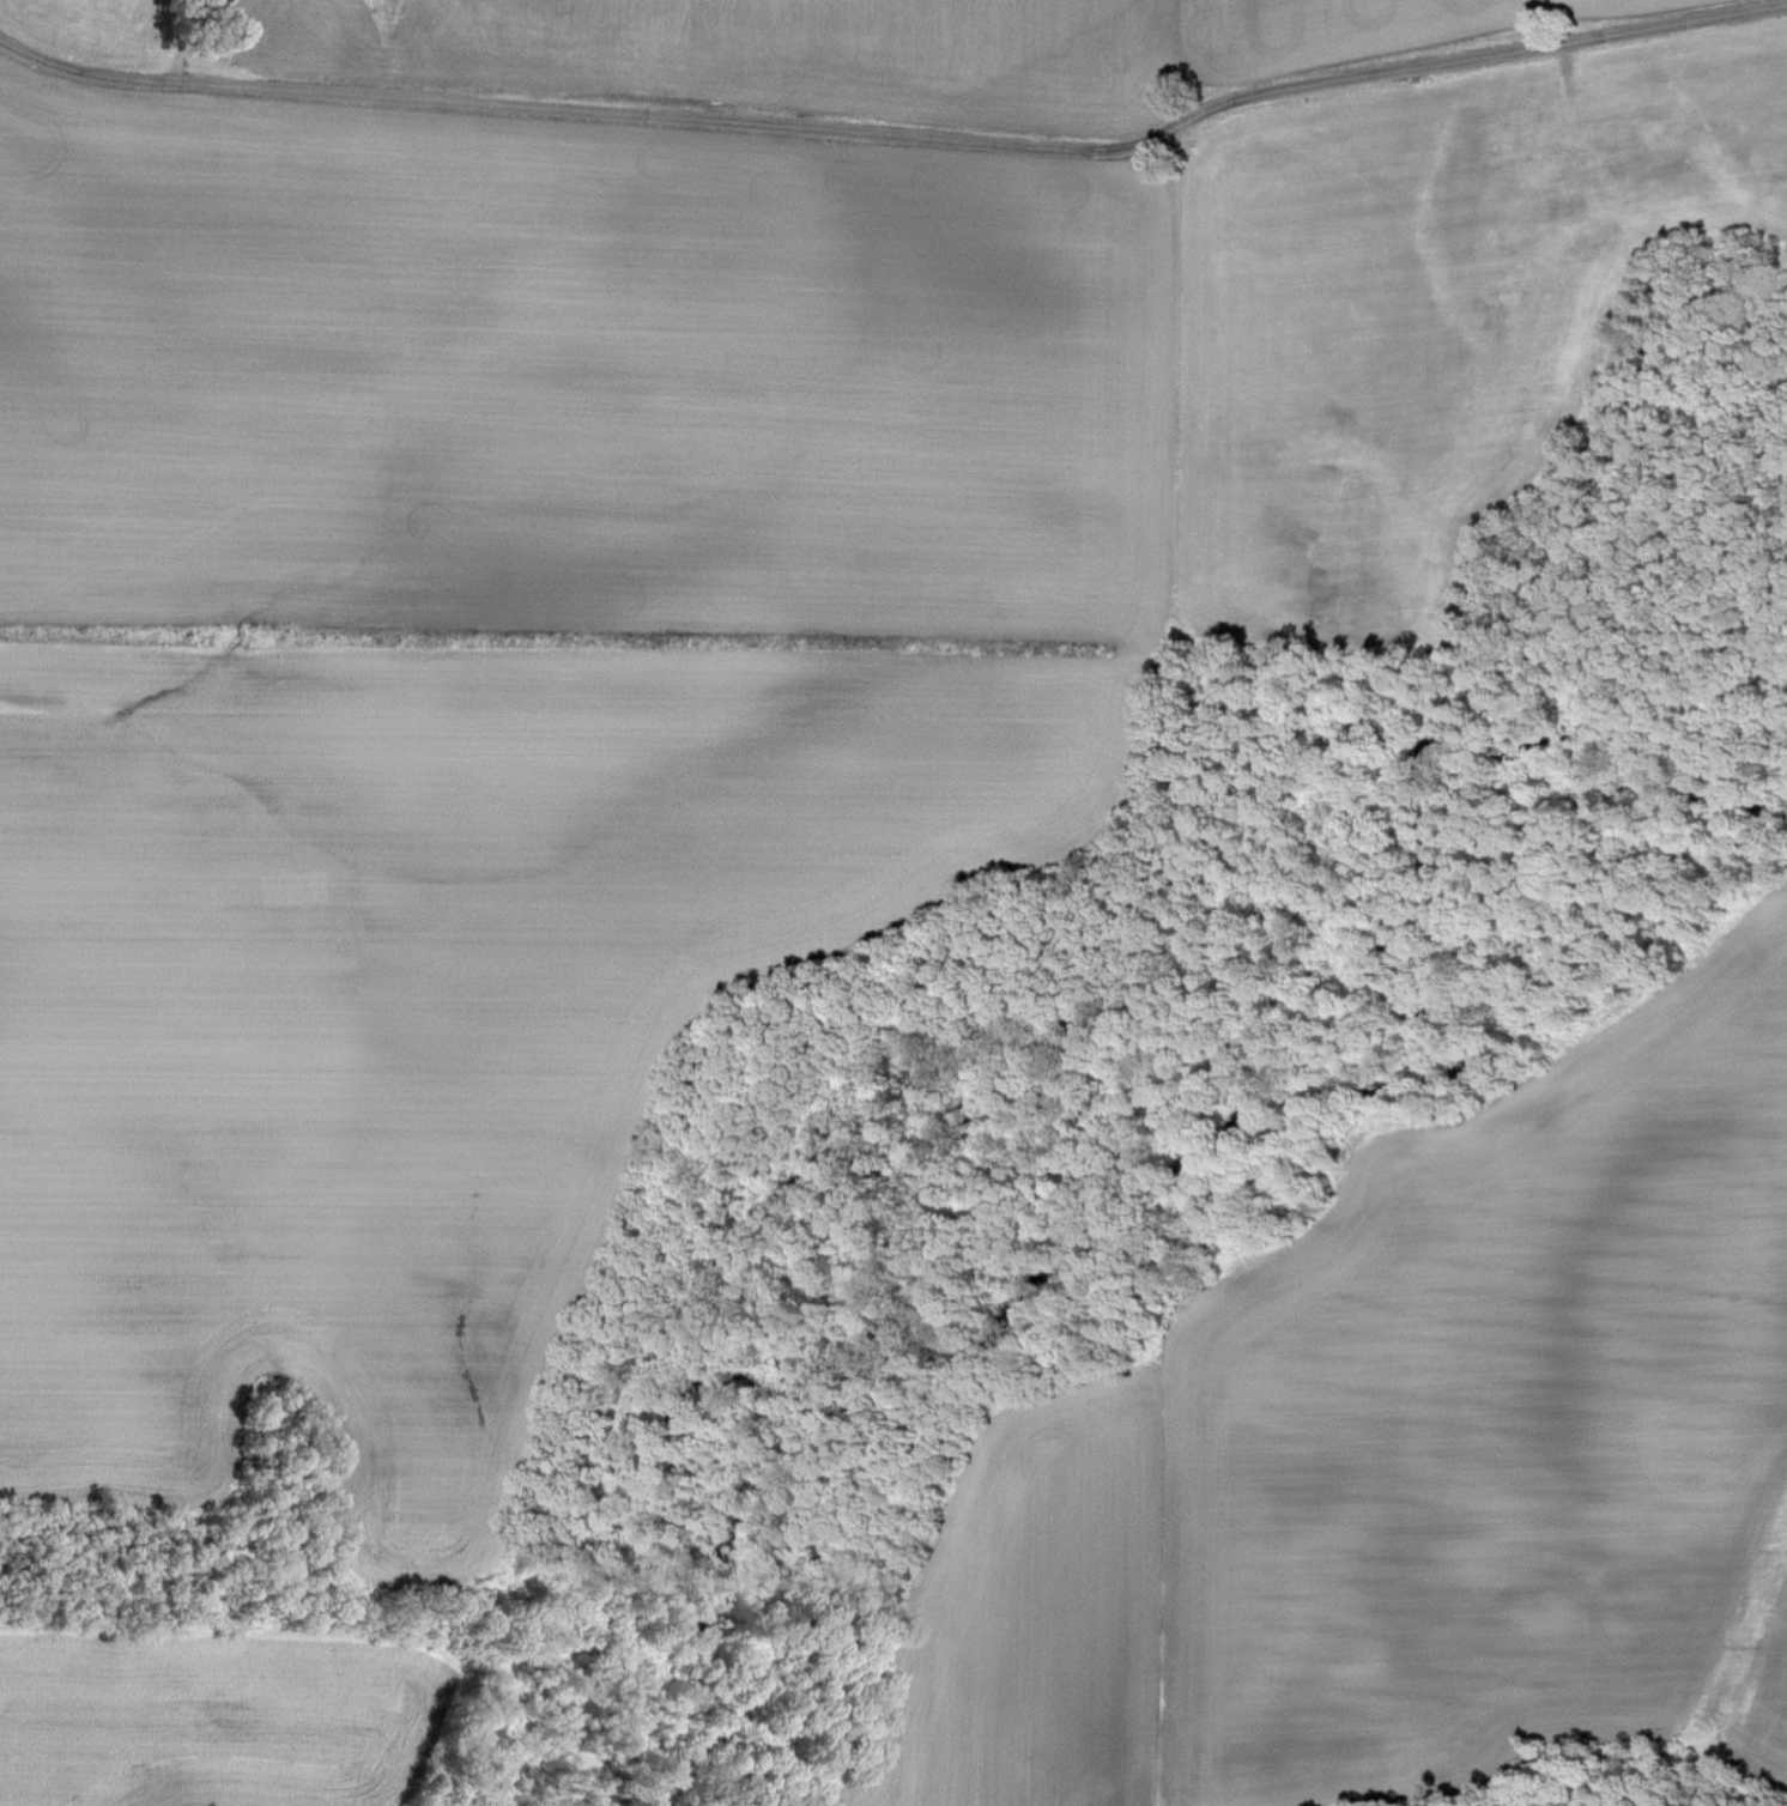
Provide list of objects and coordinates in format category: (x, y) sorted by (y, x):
road: (896, 132)

